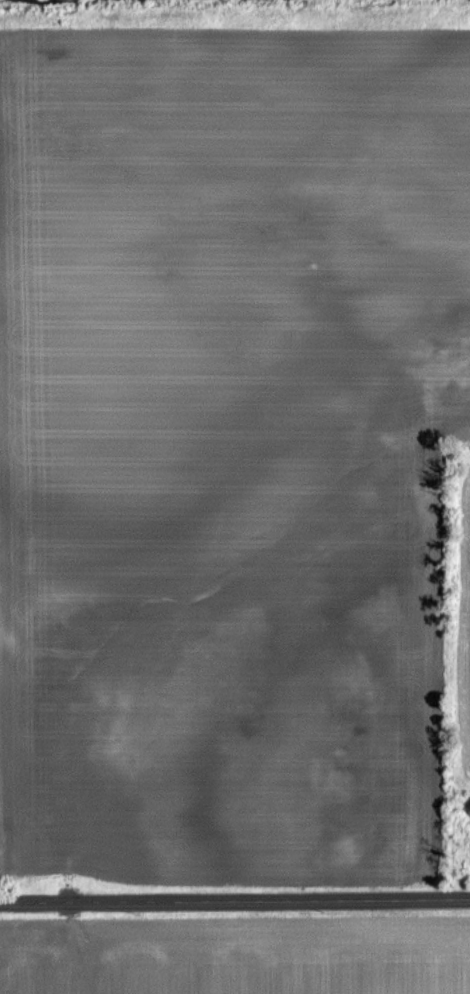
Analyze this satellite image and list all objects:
crop: (224, 441)
building: (361, 684)
road: (235, 901)
crop: (239, 962)

